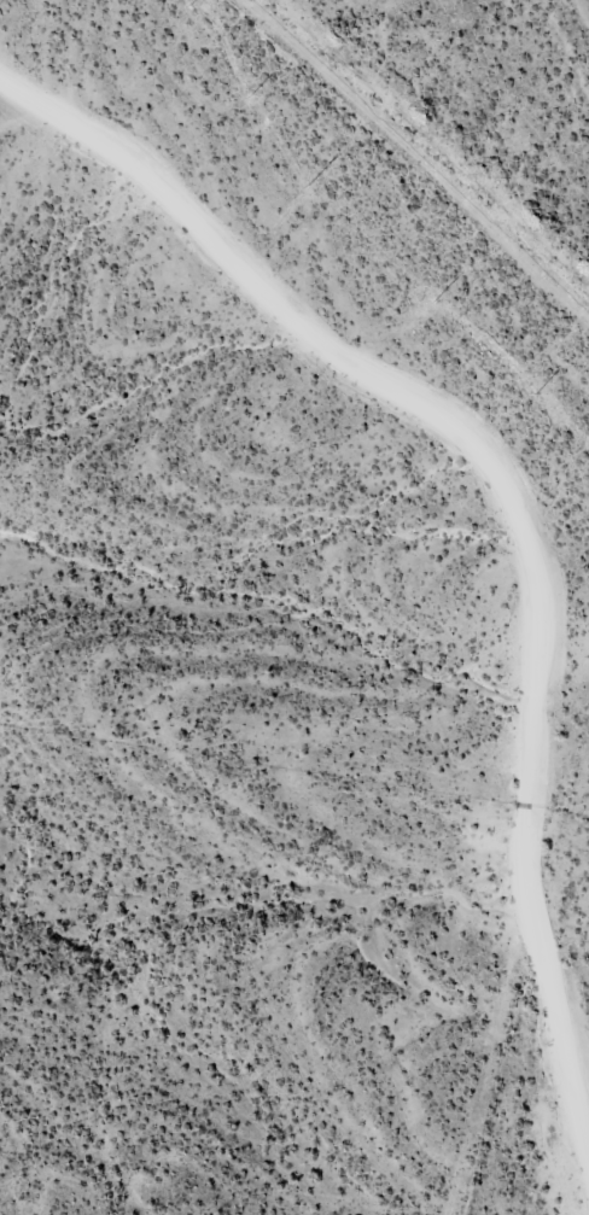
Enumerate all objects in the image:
road: (484, 483)

